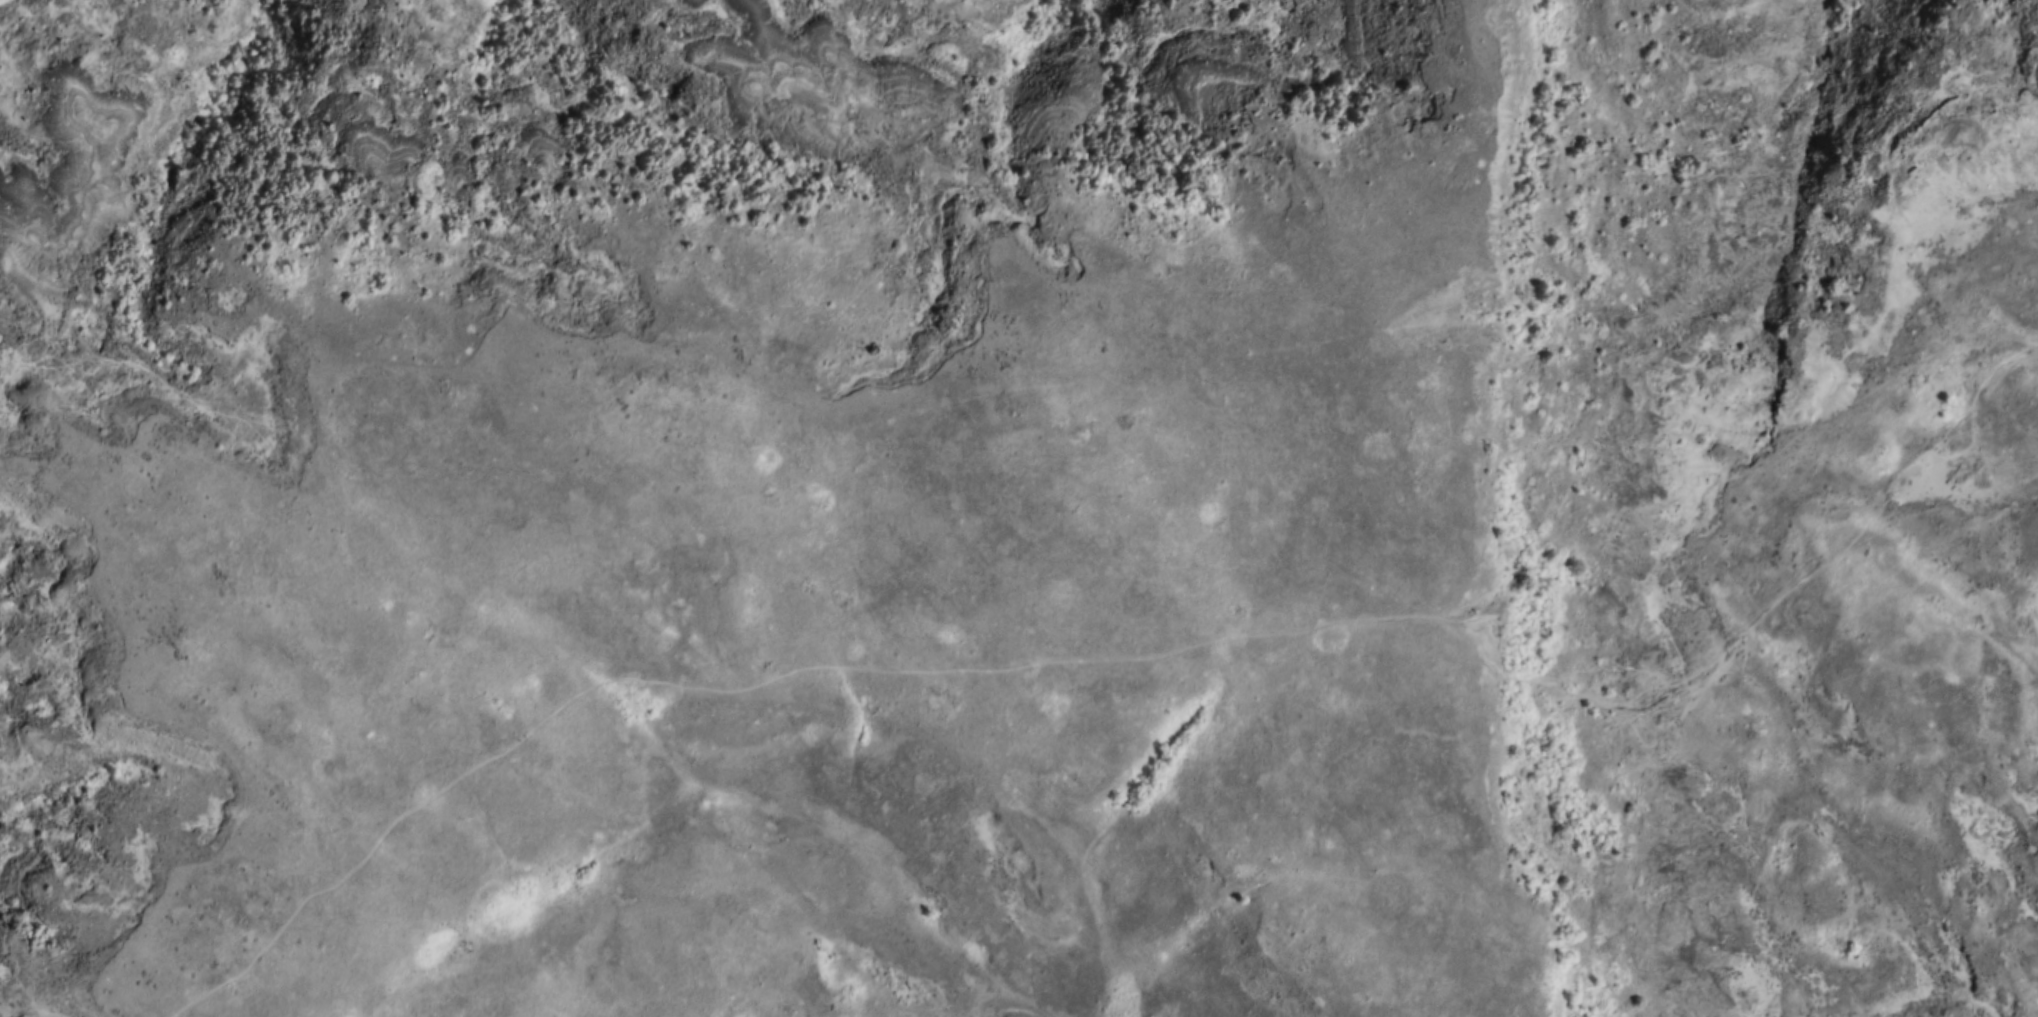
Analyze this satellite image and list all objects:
road: (1142, 652)
road: (18, 1014)

